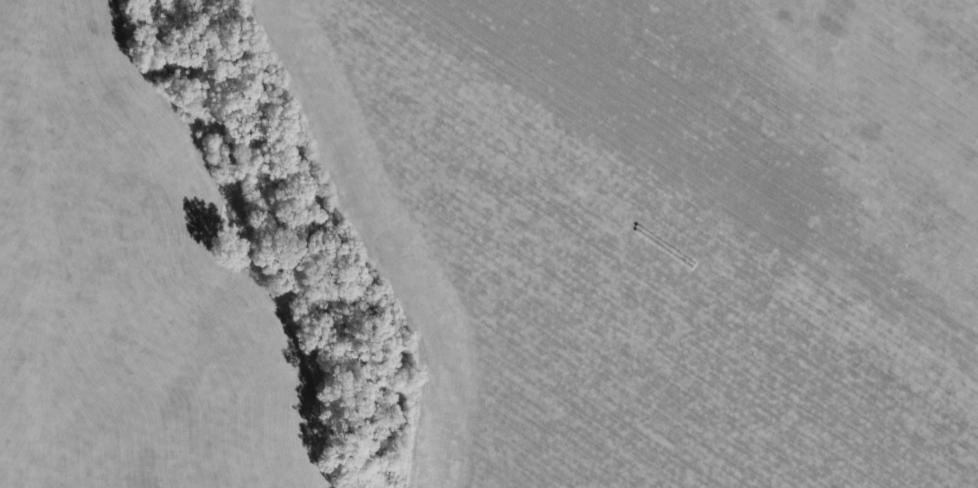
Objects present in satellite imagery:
crop: (129, 283)

